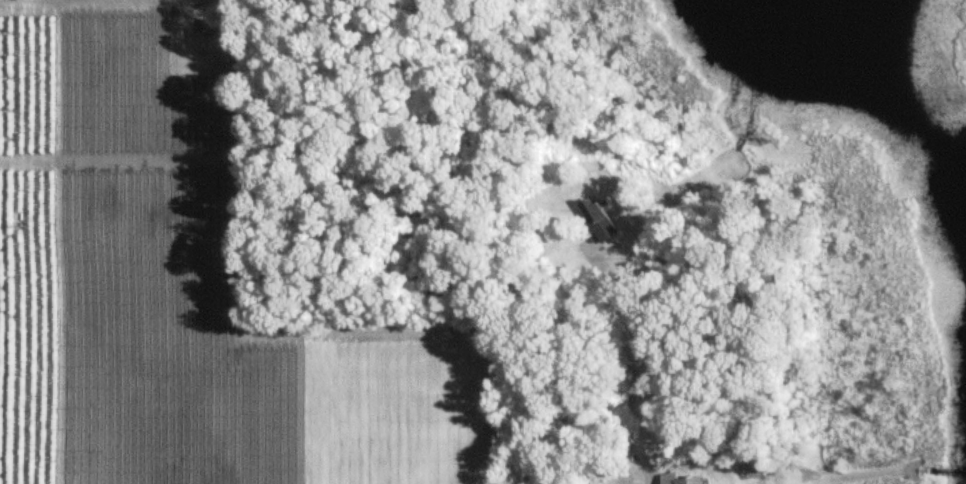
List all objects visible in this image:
building: (599, 220)
road: (643, 368)
building: (683, 480)

